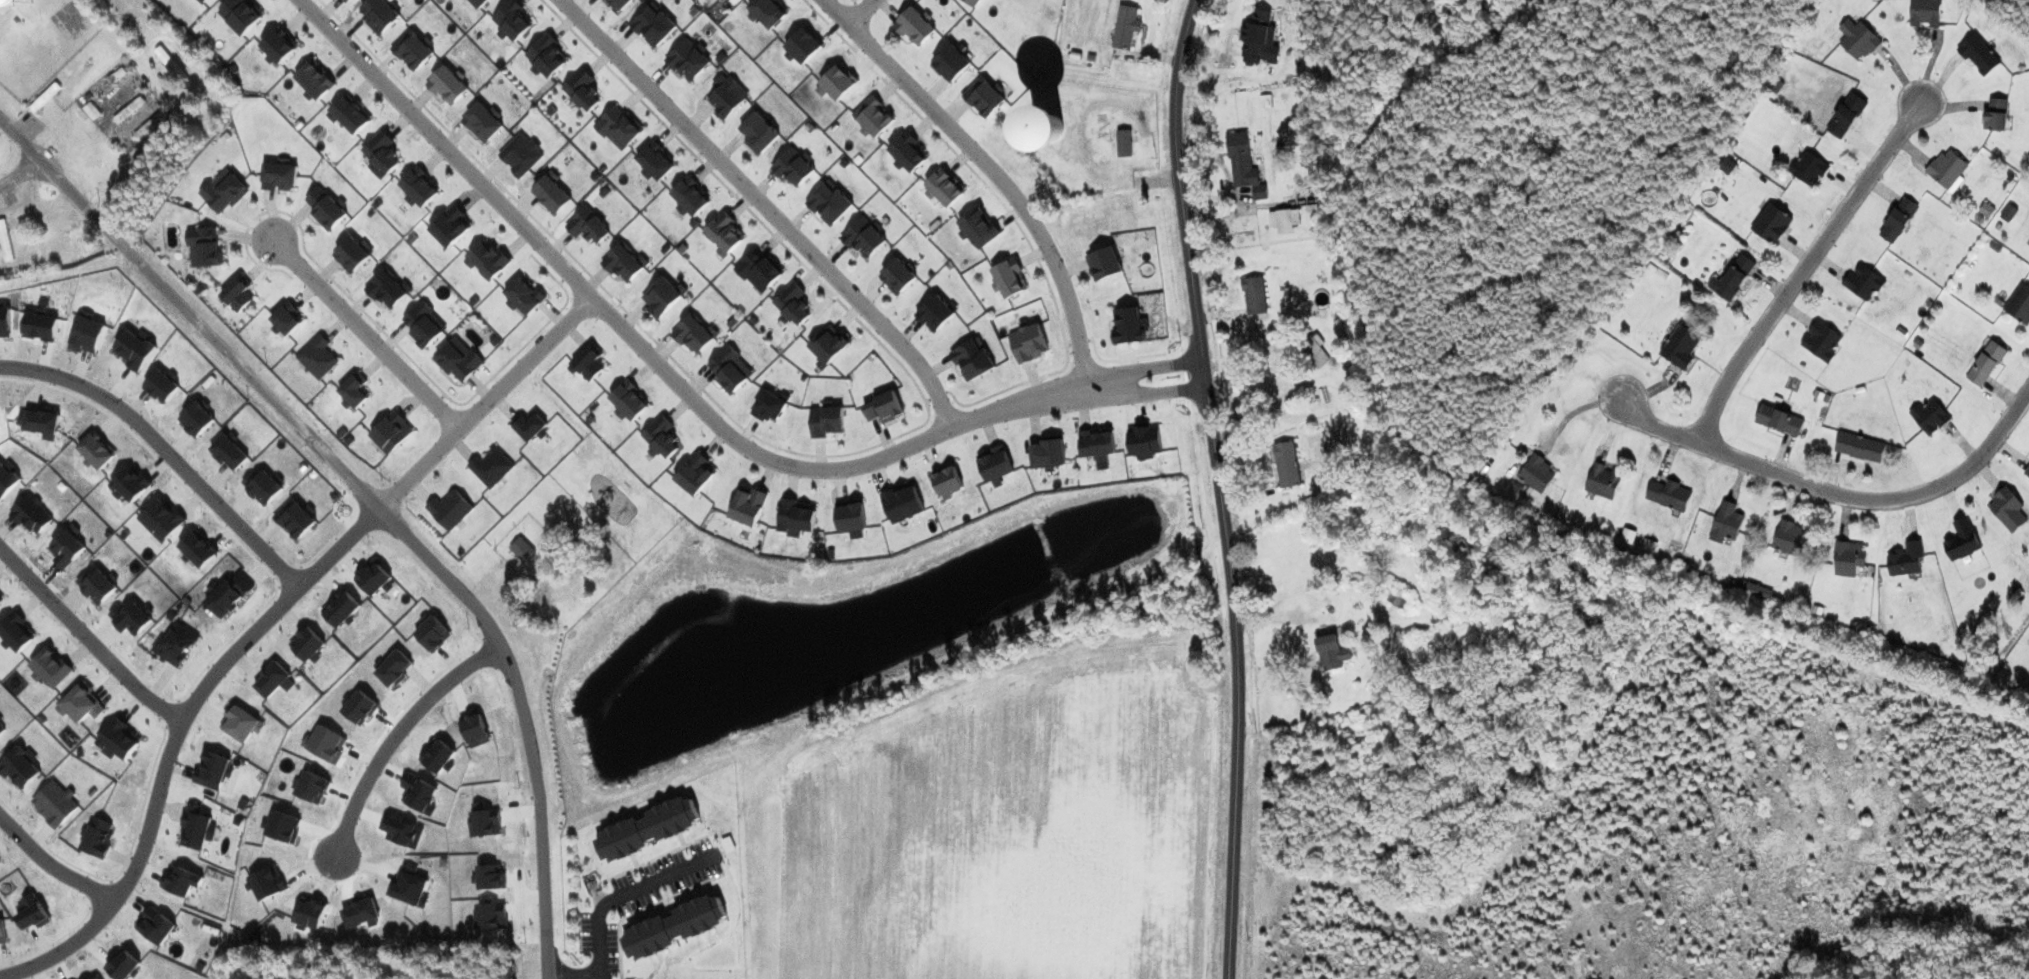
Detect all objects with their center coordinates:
building: (6, 4)
road: (865, 10)
building: (1923, 14)
building: (1124, 29)
building: (1256, 30)
building: (1856, 41)
building: (1977, 56)
building: (1994, 115)
building: (1844, 117)
building: (1242, 164)
building: (1725, 167)
road: (150, 169)
building: (1807, 170)
building: (1946, 170)
road: (20, 173)
road: (998, 178)
road: (766, 207)
building: (1896, 220)
building: (1282, 221)
building: (1770, 223)
building: (3, 245)
road: (1802, 267)
building: (1730, 275)
building: (1862, 282)
building: (1252, 296)
building: (2019, 304)
road: (367, 334)
building: (1820, 341)
building: (1679, 346)
building: (1313, 351)
building: (1985, 363)
road: (690, 395)
road: (483, 404)
building: (1928, 416)
building: (1778, 420)
road: (167, 447)
building: (1858, 447)
building: (1285, 465)
building: (2026, 471)
building: (1536, 473)
building: (1602, 481)
road: (1220, 487)
road: (1835, 494)
building: (1667, 495)
road: (371, 502)
building: (2006, 510)
building: (1725, 524)
building: (1789, 539)
building: (1960, 541)
building: (520, 550)
building: (1847, 559)
building: (1905, 560)
road: (87, 636)
building: (1330, 652)
road: (398, 730)
road: (173, 740)
road: (52, 865)
road: (615, 891)
road: (571, 968)

